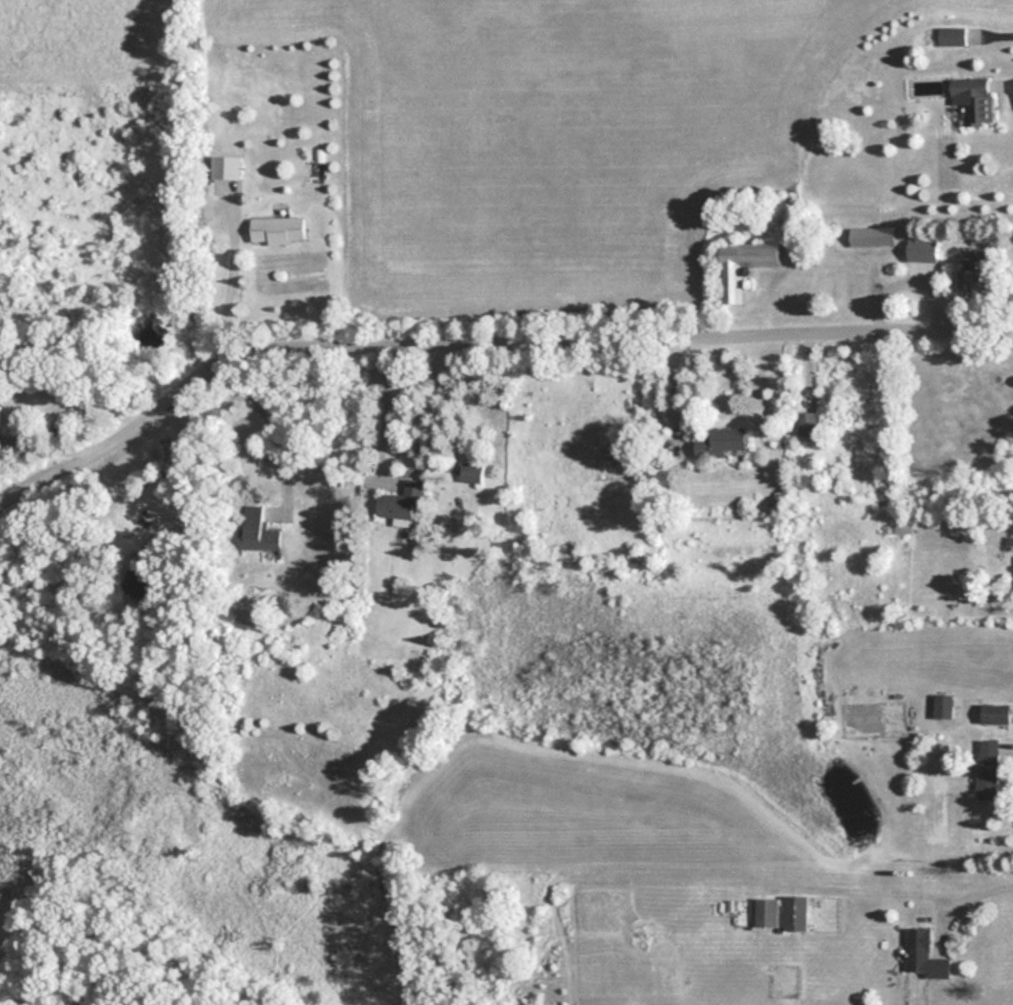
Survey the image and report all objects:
building: (952, 36)
road: (1007, 94)
building: (974, 99)
building: (226, 176)
building: (277, 230)
building: (873, 237)
building: (923, 250)
building: (745, 263)
building: (978, 271)
road: (230, 286)
road: (561, 332)
road: (679, 386)
road: (376, 405)
building: (0, 414)
road: (269, 420)
building: (808, 423)
building: (721, 441)
road: (39, 447)
road: (69, 460)
road: (180, 468)
building: (470, 472)
building: (257, 531)
building: (138, 582)
building: (995, 713)
building: (987, 768)
road: (908, 895)
building: (766, 912)
building: (795, 912)
building: (924, 954)

